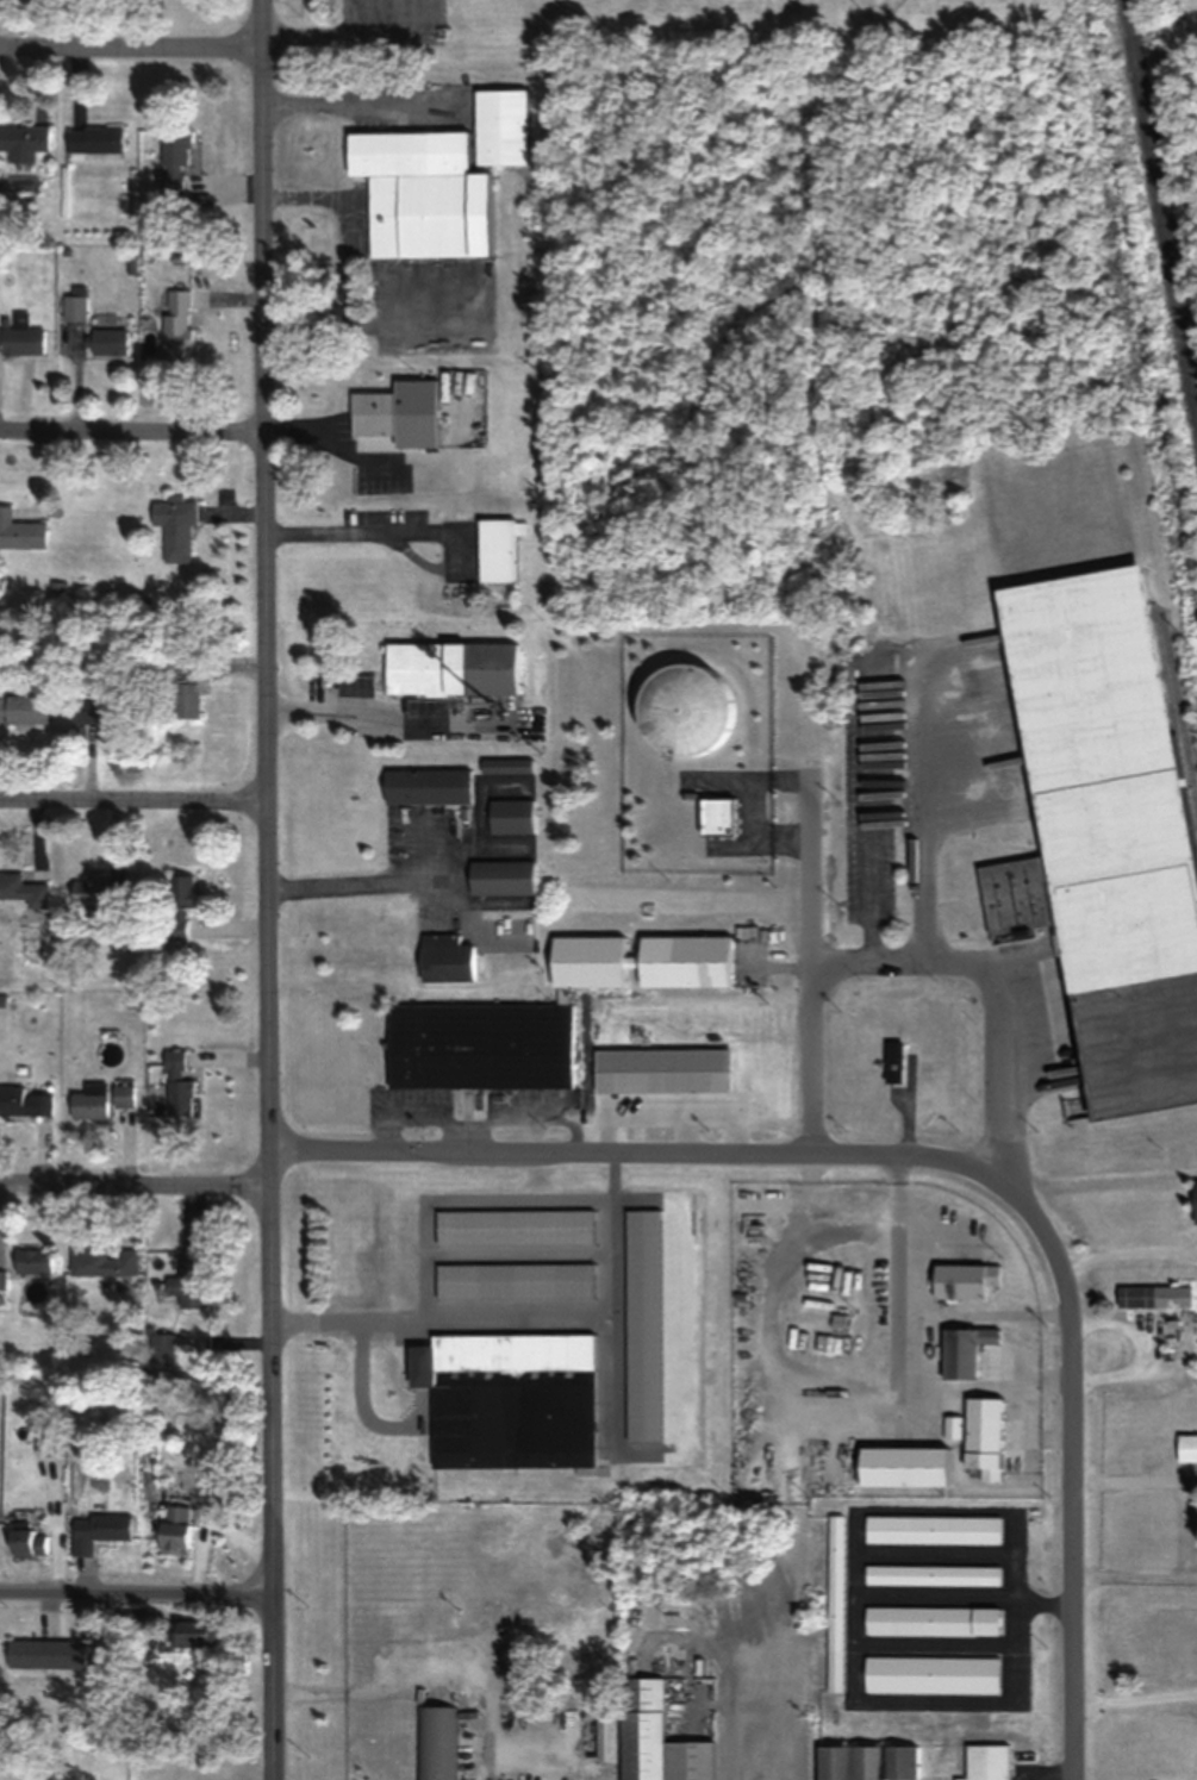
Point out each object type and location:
park: (875, 7)
park: (705, 31)
road: (131, 51)
building: (499, 125)
building: (94, 139)
building: (24, 140)
building: (175, 167)
building: (419, 192)
railway: (1159, 207)
building: (74, 307)
building: (176, 325)
building: (20, 333)
building: (110, 341)
building: (397, 412)
road: (132, 439)
building: (175, 526)
building: (20, 531)
road: (378, 532)
building: (494, 551)
building: (449, 667)
building: (183, 687)
storage tank: (688, 693)
building: (688, 698)
building: (24, 708)
building: (101, 708)
railway: (1177, 714)
road: (395, 724)
building: (428, 785)
road: (133, 807)
building: (509, 816)
road: (923, 820)
building: (1102, 833)
road: (810, 863)
building: (499, 876)
road: (382, 880)
building: (24, 889)
road: (268, 889)
building: (96, 891)
building: (180, 904)
building: (444, 957)
road: (998, 982)
building: (537, 1014)
road: (811, 1056)
building: (891, 1061)
building: (660, 1070)
building: (177, 1085)
building: (124, 1094)
building: (24, 1101)
building: (91, 1101)
road: (659, 1156)
road: (135, 1192)
building: (1193, 1201)
building: (33, 1261)
building: (104, 1262)
building: (189, 1279)
building: (2, 1280)
building: (961, 1280)
building: (1151, 1295)
road: (438, 1309)
building: (162, 1349)
building: (960, 1350)
building: (511, 1400)
building: (950, 1426)
building: (981, 1436)
building: (1186, 1447)
building: (899, 1466)
building: (93, 1491)
road: (1073, 1493)
road: (856, 1509)
building: (931, 1528)
building: (100, 1530)
building: (174, 1537)
building: (26, 1538)
road: (935, 1542)
building: (931, 1574)
road: (935, 1582)
road: (1043, 1594)
road: (136, 1595)
building: (834, 1601)
building: (136, 1618)
building: (930, 1620)
building: (191, 1634)
road: (936, 1634)
building: (48, 1656)
building: (930, 1674)
building: (655, 1738)
building: (436, 1743)
building: (866, 1762)
building: (985, 1762)

